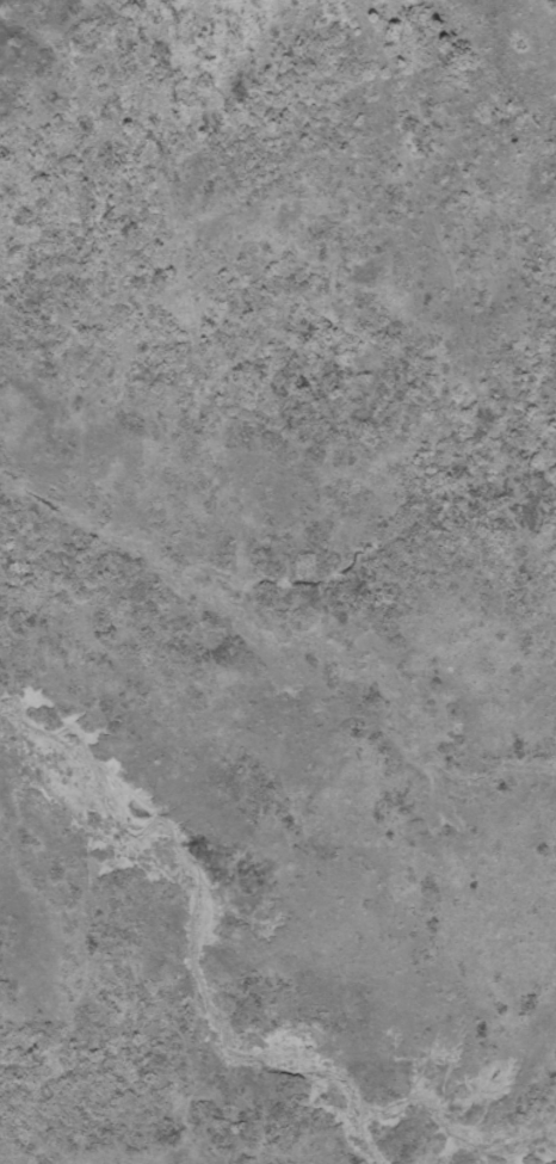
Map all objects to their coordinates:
road: (549, 1156)

